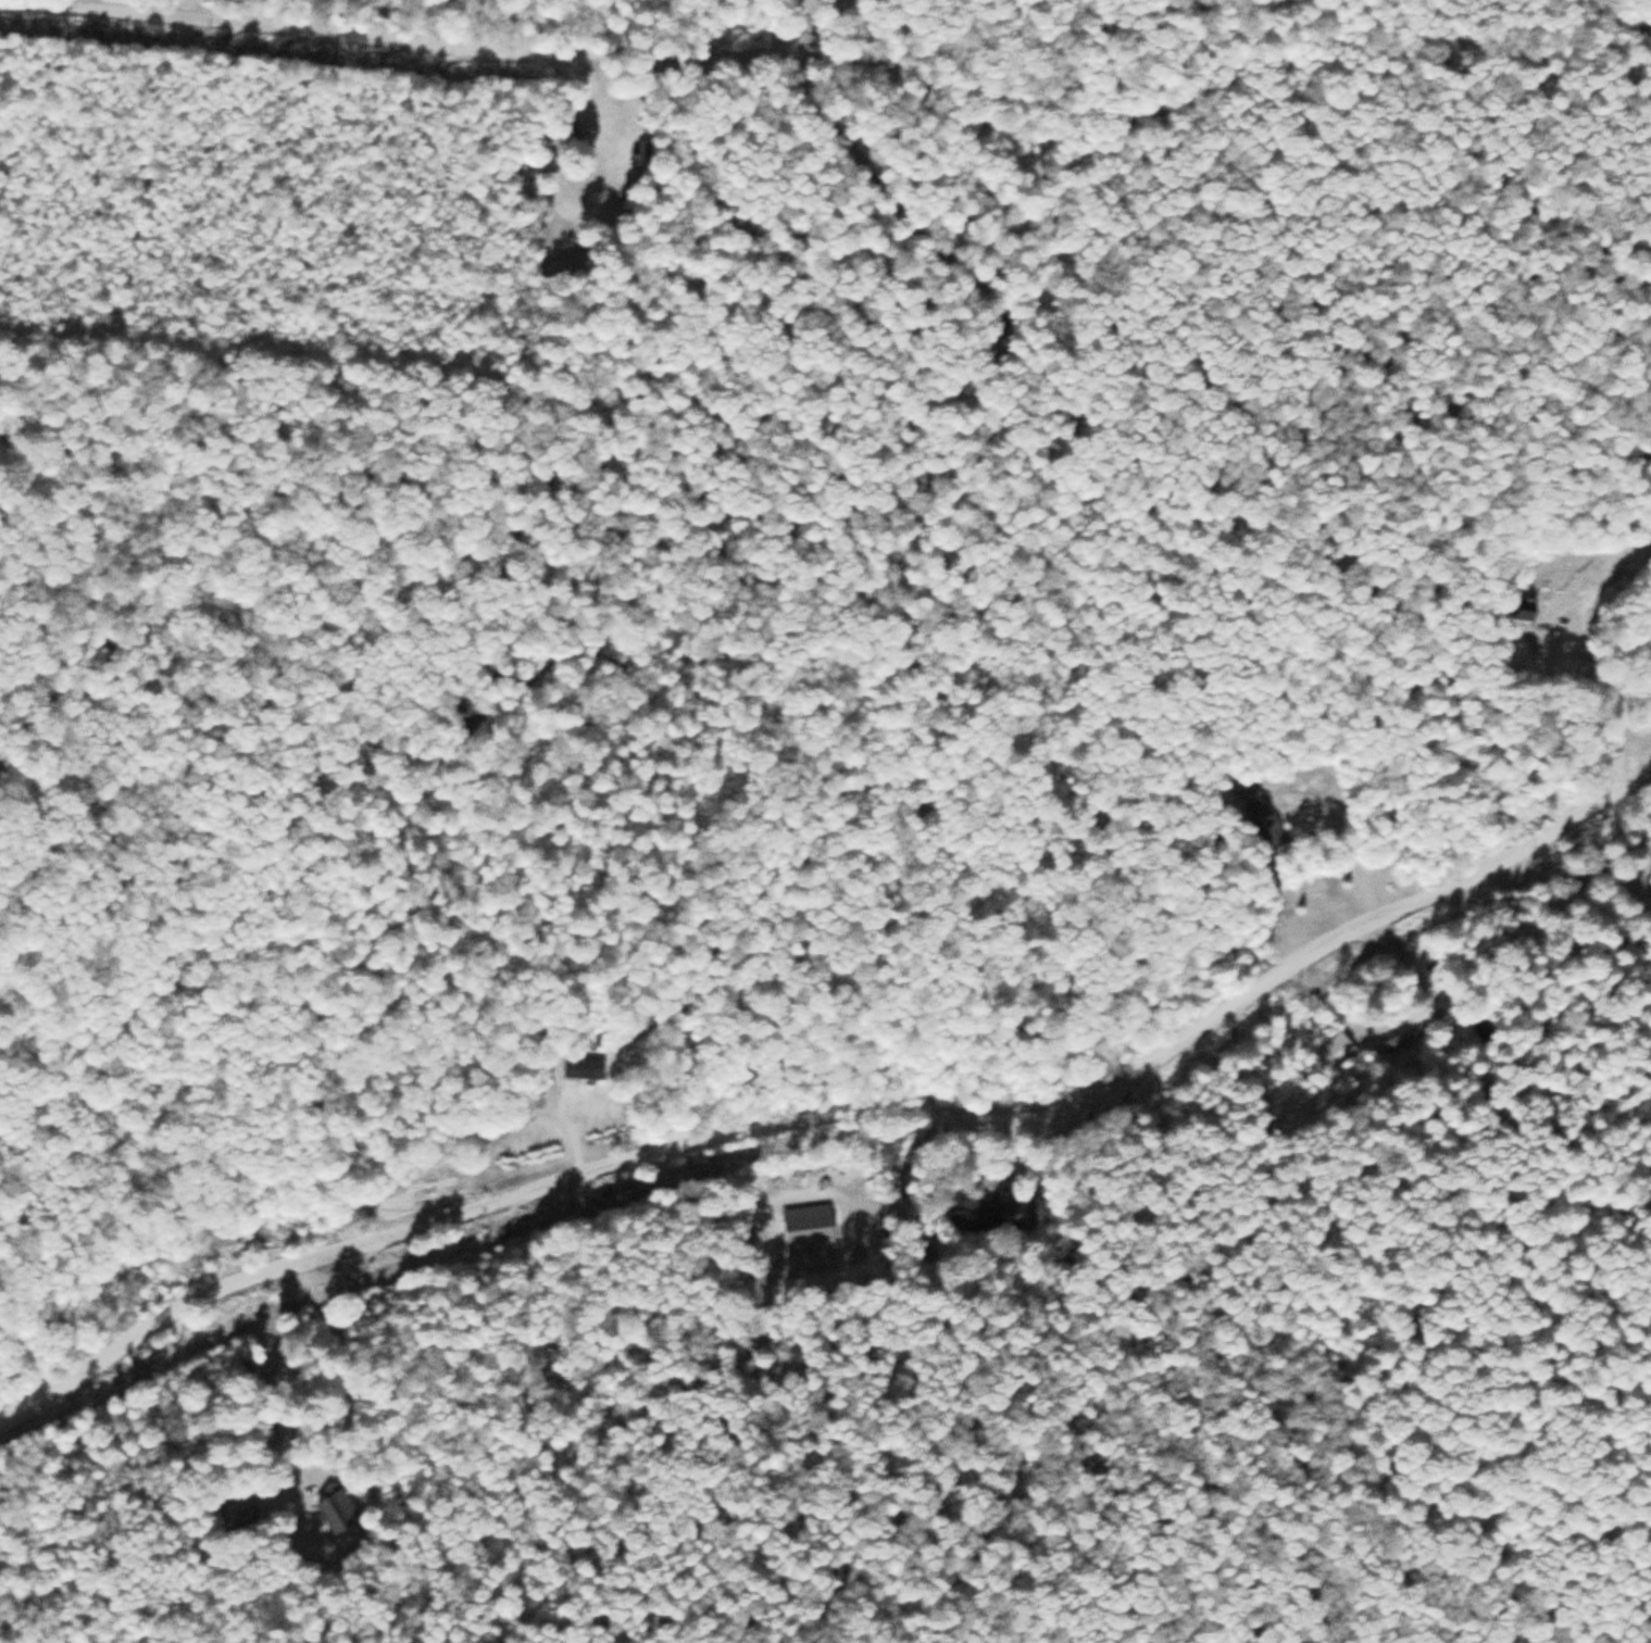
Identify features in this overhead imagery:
road: (1613, 18)
road: (697, 50)
building: (565, 131)
building: (533, 164)
building: (1522, 611)
building: (1260, 814)
building: (1401, 1038)
building: (583, 1068)
road: (838, 1105)
building: (988, 1212)
building: (237, 1512)
building: (336, 1513)

